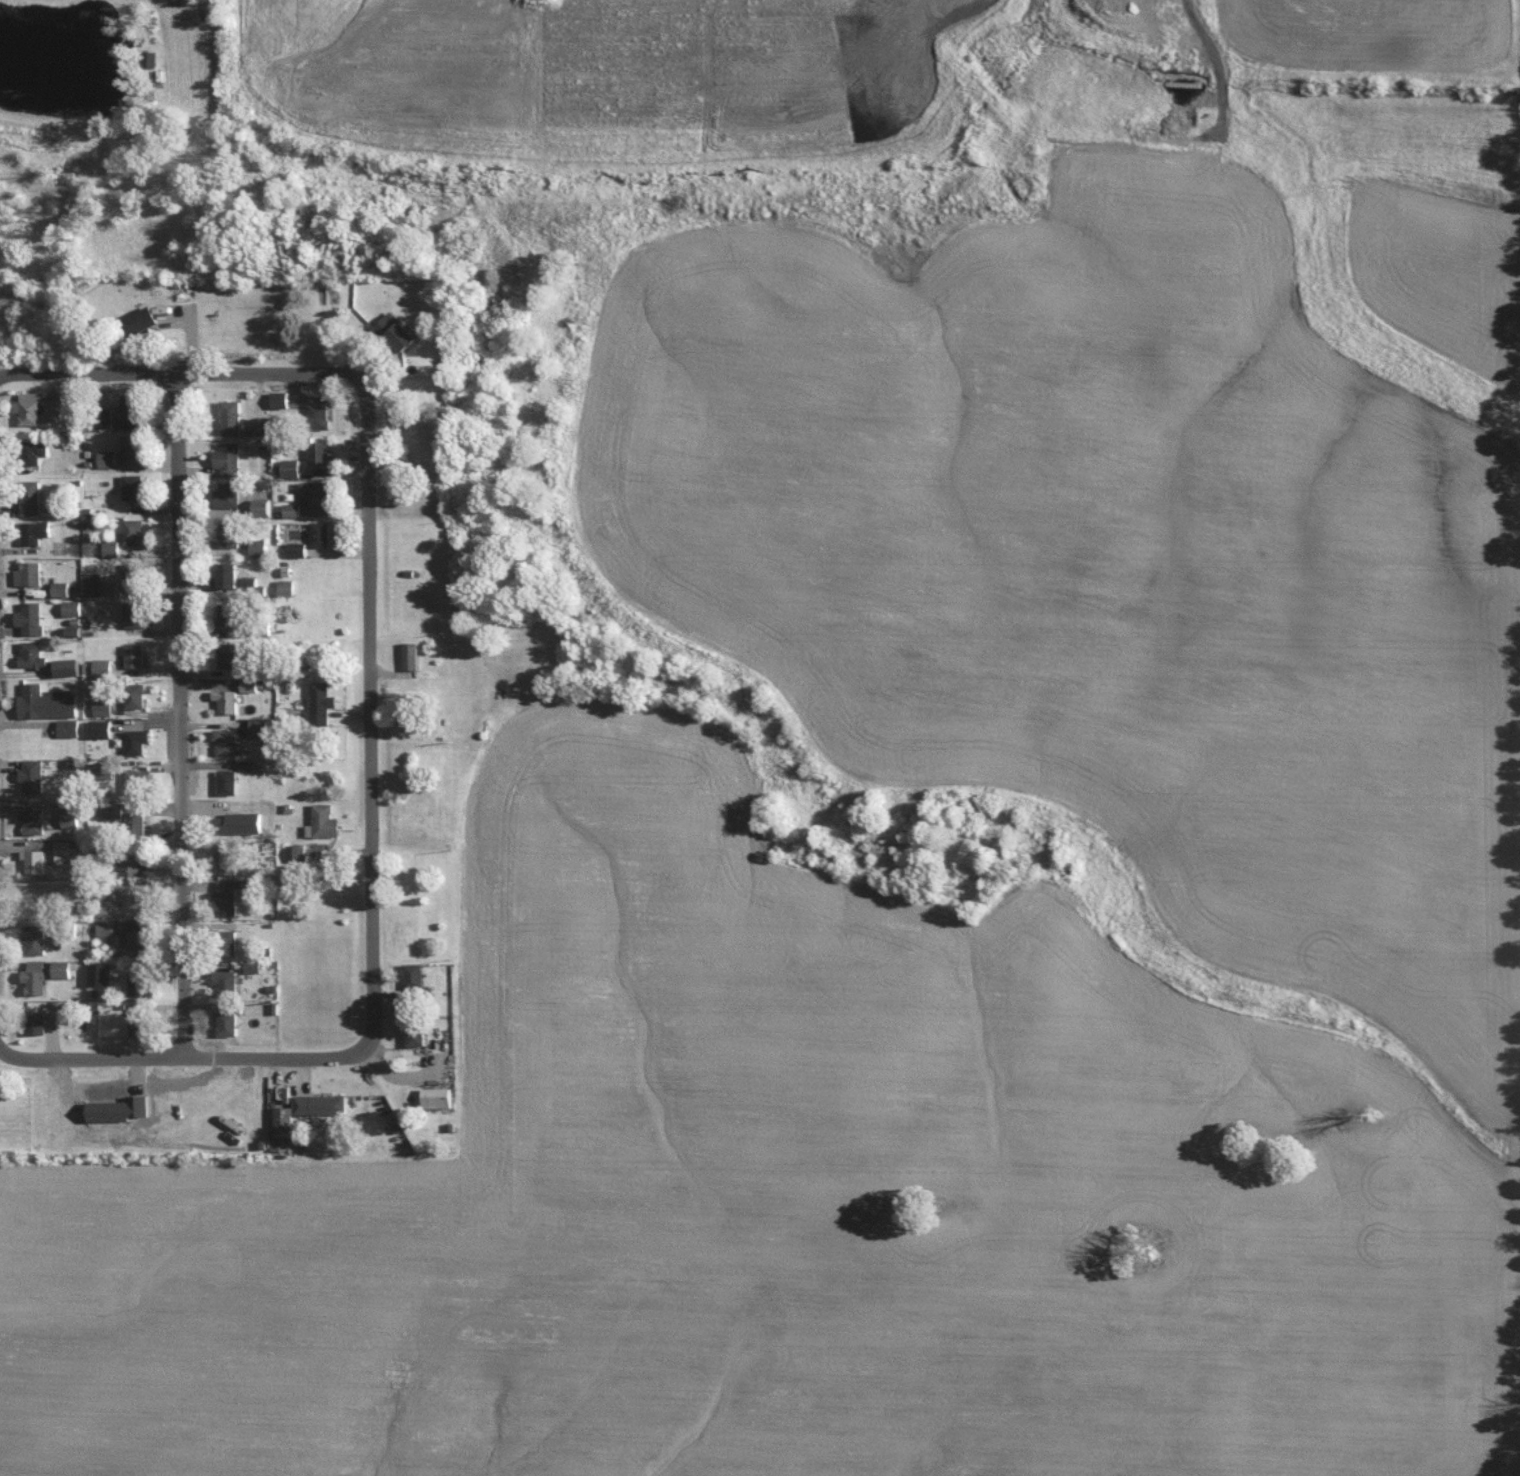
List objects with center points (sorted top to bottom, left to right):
building: (144, 319)
building: (402, 330)
road: (182, 374)
building: (281, 399)
building: (30, 407)
building: (55, 409)
building: (133, 410)
building: (320, 412)
building: (232, 417)
building: (262, 425)
building: (134, 446)
building: (321, 456)
building: (110, 458)
building: (230, 458)
building: (293, 467)
building: (134, 486)
building: (320, 493)
building: (233, 498)
building: (33, 506)
building: (265, 506)
building: (293, 509)
building: (37, 531)
building: (135, 531)
building: (322, 533)
building: (233, 536)
building: (260, 546)
building: (112, 548)
building: (298, 548)
building: (31, 573)
building: (135, 574)
building: (234, 575)
building: (94, 584)
building: (252, 584)
building: (288, 586)
building: (63, 588)
building: (75, 607)
building: (135, 615)
building: (236, 615)
building: (33, 617)
building: (78, 631)
building: (34, 654)
building: (136, 655)
building: (413, 655)
building: (70, 666)
building: (104, 666)
building: (251, 685)
building: (228, 700)
building: (138, 701)
building: (49, 702)
building: (323, 702)
building: (104, 706)
road: (180, 717)
road: (369, 719)
building: (415, 721)
building: (69, 727)
building: (102, 728)
building: (261, 728)
building: (139, 740)
building: (230, 742)
building: (35, 775)
building: (139, 779)
building: (229, 781)
building: (72, 816)
building: (138, 817)
building: (35, 819)
building: (328, 820)
building: (66, 850)
building: (314, 851)
building: (36, 859)
building: (136, 863)
building: (228, 896)
building: (107, 927)
building: (140, 938)
building: (38, 941)
building: (254, 966)
building: (62, 968)
building: (102, 972)
building: (36, 976)
building: (228, 981)
building: (139, 982)
building: (38, 1021)
building: (141, 1022)
building: (230, 1022)
building: (417, 1033)
road: (180, 1060)
building: (440, 1096)
building: (322, 1103)
building: (287, 1121)

